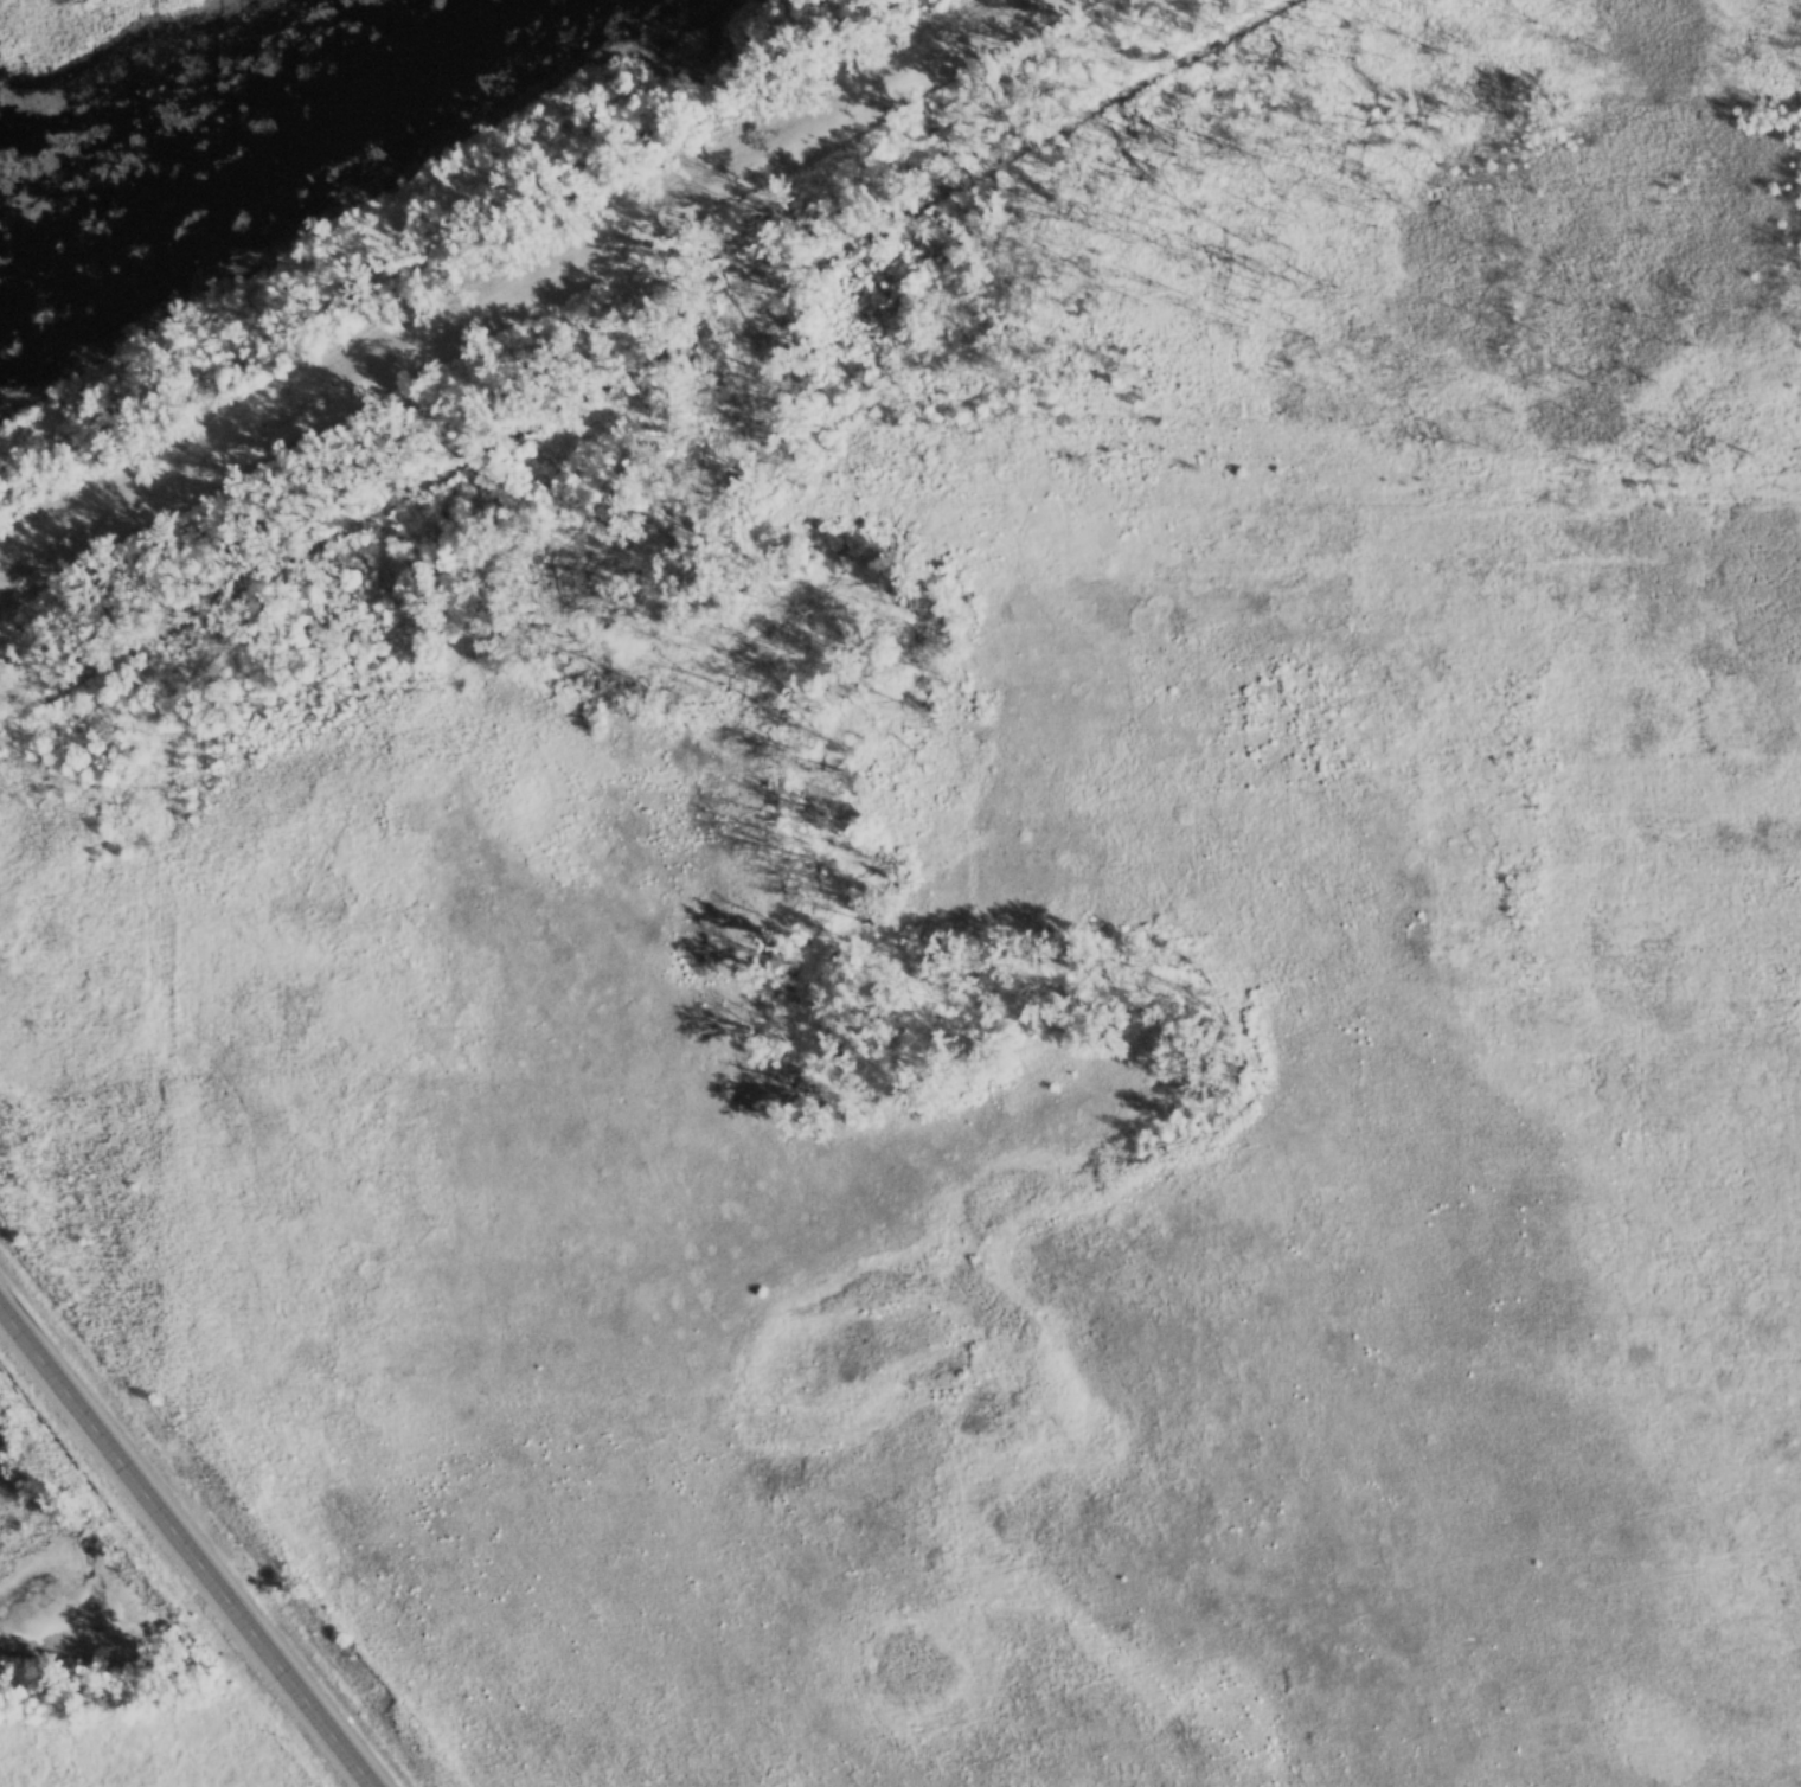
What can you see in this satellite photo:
river: (258, 141)
road: (513, 288)
road: (186, 1545)

